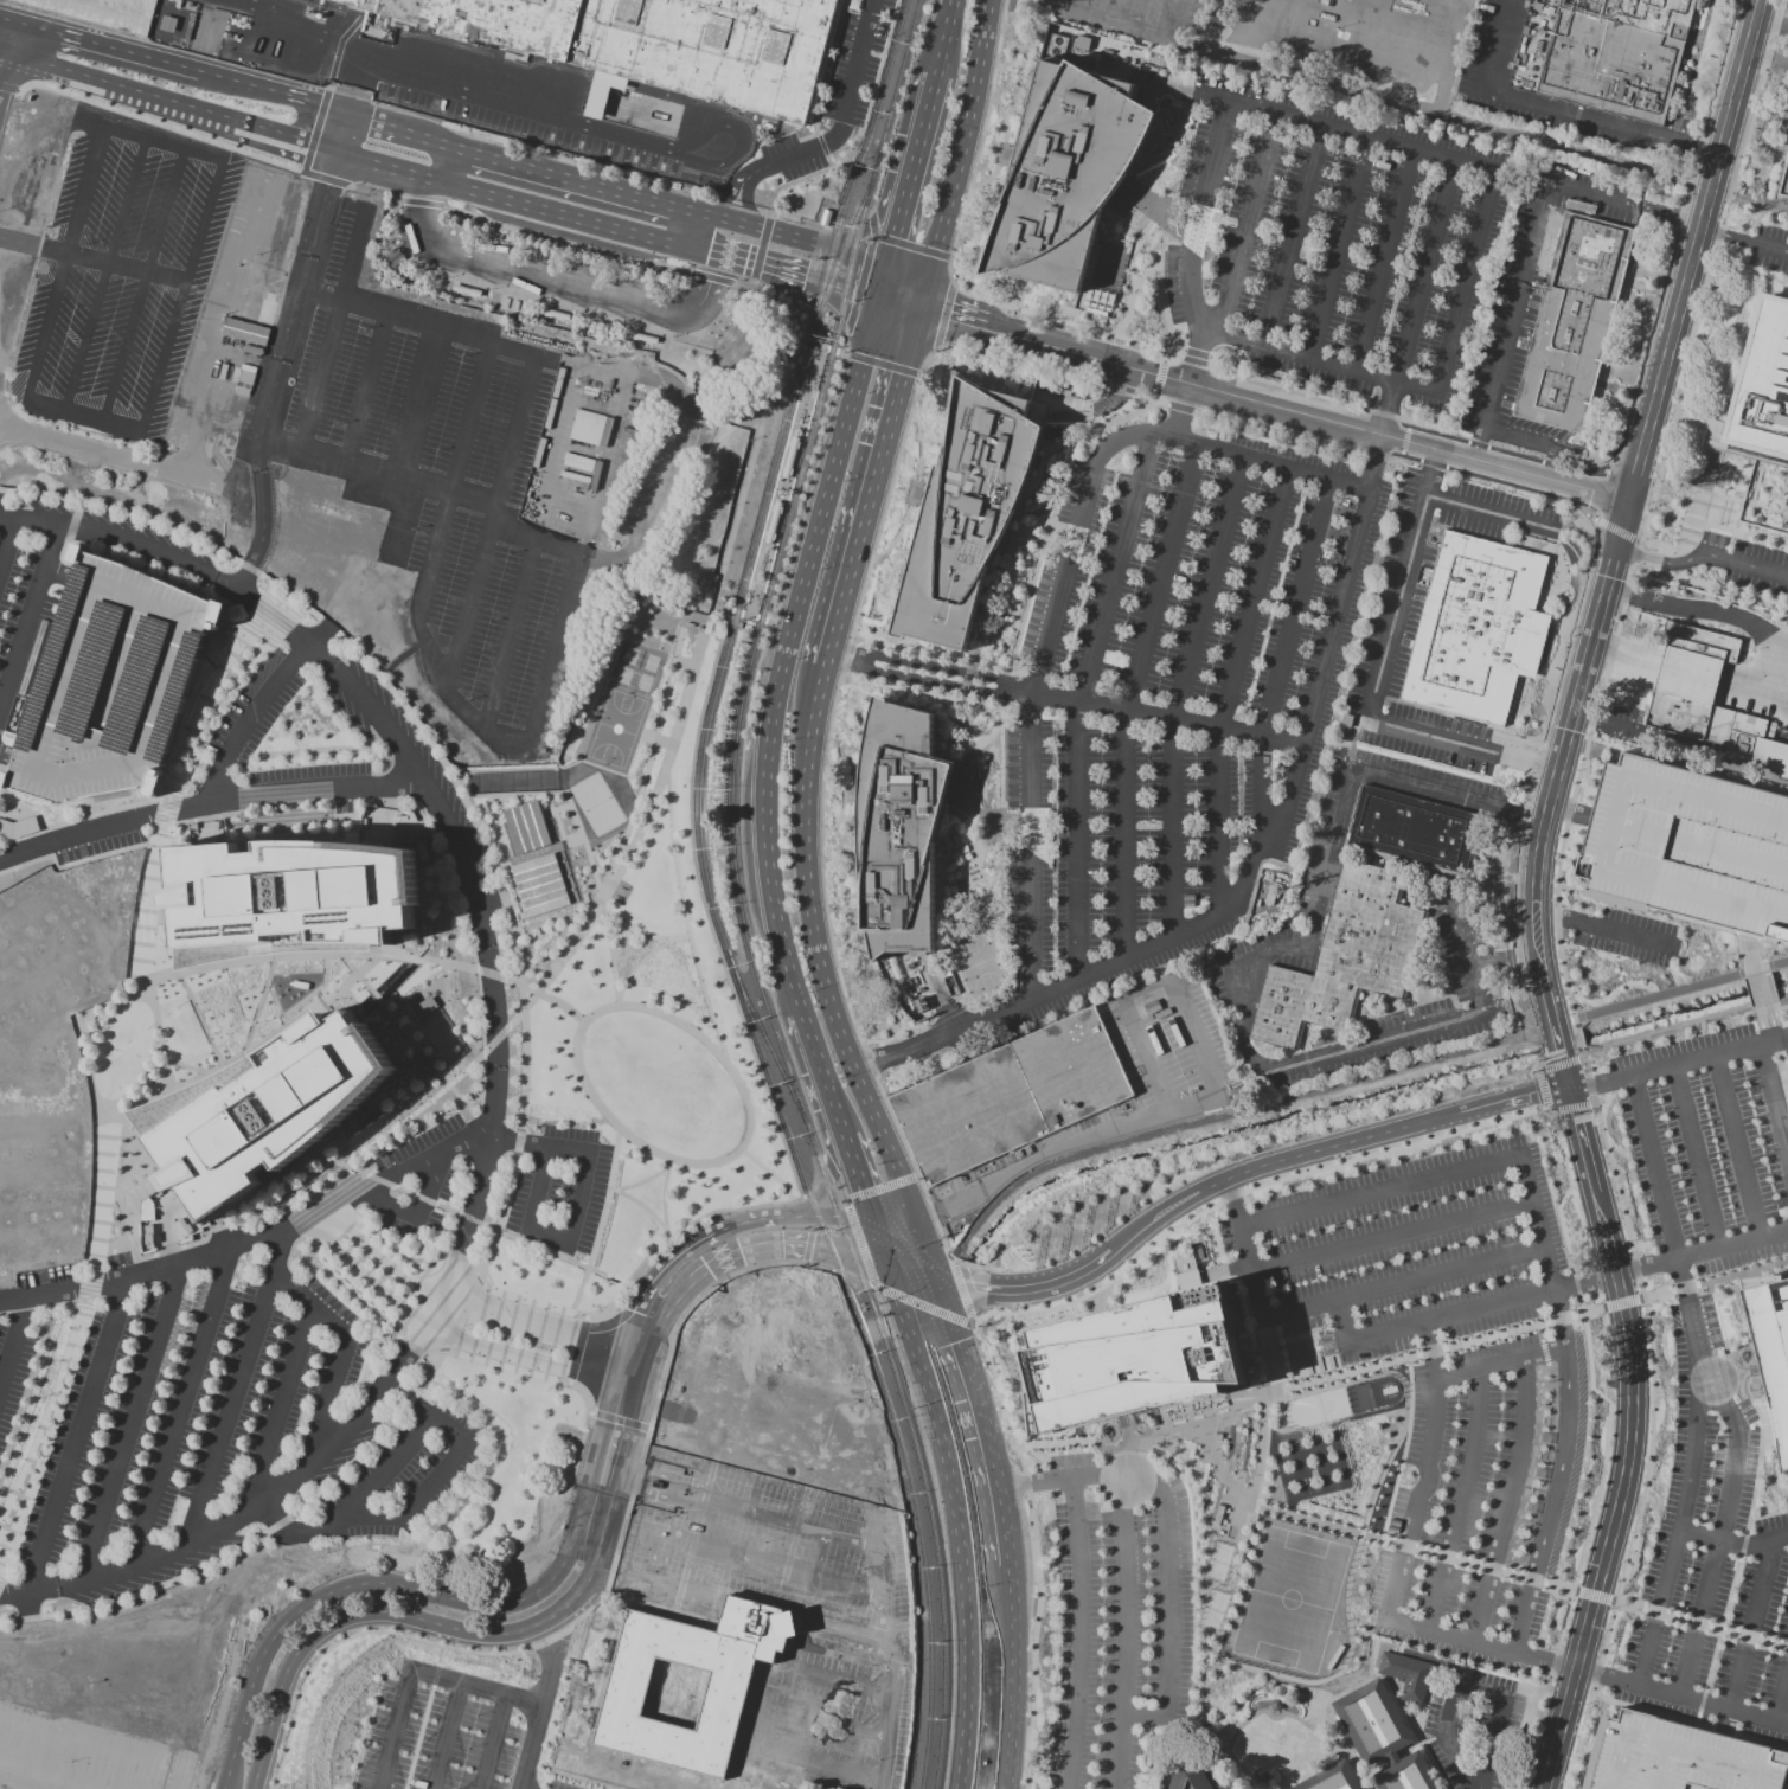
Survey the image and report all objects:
building: (98, 11)
road: (6, 20)
road: (1127, 30)
road: (944, 38)
building: (655, 43)
road: (1491, 43)
road: (6, 49)
road: (104, 49)
building: (1608, 54)
road: (1768, 59)
road: (823, 69)
road: (1742, 76)
road: (23, 85)
road: (327, 85)
road: (7, 86)
road: (120, 86)
road: (15, 89)
road: (446, 89)
road: (1351, 91)
road: (251, 92)
road: (845, 113)
road: (1575, 113)
road: (166, 126)
road: (383, 128)
road: (314, 129)
road: (807, 135)
road: (289, 137)
road: (921, 140)
road: (156, 142)
road: (742, 143)
road: (821, 145)
road: (1696, 146)
road: (957, 155)
road: (827, 160)
railway: (876, 161)
road: (1466, 169)
railway: (857, 171)
road: (1717, 171)
road: (325, 177)
building: (1065, 177)
road: (563, 178)
road: (789, 184)
building: (1782, 184)
road: (372, 190)
road: (730, 192)
road: (1723, 192)
road: (1745, 198)
road: (748, 200)
road: (418, 201)
road: (1771, 205)
road: (527, 206)
road: (1707, 207)
road: (873, 224)
road: (744, 225)
road: (1248, 226)
road: (710, 230)
road: (864, 230)
road: (1724, 232)
road: (1294, 238)
road: (565, 242)
road: (1191, 243)
road: (1767, 244)
road: (437, 245)
road: (1532, 245)
road: (912, 248)
road: (761, 249)
railway: (842, 249)
parking lot: (1326, 250)
road: (891, 251)
road: (1339, 251)
road: (348, 254)
road: (91, 262)
road: (59, 263)
road: (738, 263)
road: (1383, 263)
road: (872, 268)
road: (771, 271)
road: (949, 272)
road: (98, 274)
road: (1424, 274)
road: (711, 277)
traffic signals: (885, 280)
traffic signals: (809, 282)
road: (139, 284)
road: (860, 284)
road: (564, 286)
road: (741, 287)
road: (1160, 290)
building: (466, 291)
road: (851, 291)
road: (181, 295)
road: (707, 295)
road: (539, 297)
traffic signals: (879, 300)
road: (632, 303)
building: (252, 306)
road: (839, 306)
traffic signals: (916, 309)
building: (555, 315)
road: (742, 315)
road: (943, 318)
road: (1057, 319)
building: (1566, 326)
road: (224, 329)
road: (871, 329)
building: (645, 338)
road: (1174, 348)
road: (833, 352)
road: (1196, 353)
road: (774, 354)
road: (1164, 354)
road: (282, 355)
road: (1314, 359)
road: (923, 360)
road: (1015, 361)
road: (882, 365)
road: (860, 367)
road: (815, 368)
road: (327, 373)
road: (1158, 377)
road: (1178, 378)
building: (1762, 383)
road: (376, 386)
road: (1286, 386)
road: (1116, 390)
road: (1153, 397)
road: (1151, 399)
road: (423, 400)
road: (1183, 408)
road: (1391, 409)
road: (1388, 413)
road: (110, 425)
road: (1430, 425)
building: (587, 428)
road: (513, 434)
road: (1299, 434)
road: (1403, 440)
building: (790, 457)
road: (1236, 457)
road: (118, 459)
road: (1536, 474)
road: (672, 475)
road: (869, 495)
road: (447, 498)
road: (130, 505)
road: (883, 505)
road: (123, 513)
road: (1489, 514)
road: (236, 520)
building: (967, 521)
building: (773, 522)
road: (7, 541)
road: (532, 556)
road: (1642, 556)
road: (1726, 560)
road: (577, 566)
road: (249, 568)
road: (57, 573)
railway: (764, 592)
road: (288, 595)
road: (1622, 598)
road: (286, 601)
road: (693, 601)
road: (754, 603)
road: (1603, 605)
road: (467, 613)
road: (1715, 614)
road: (273, 616)
road: (28, 617)
road: (326, 626)
building: (1474, 628)
parking lot: (21, 629)
road: (262, 629)
parking lot: (1388, 629)
railway: (726, 646)
road: (396, 656)
road: (845, 656)
road: (684, 662)
road: (1282, 665)
road: (1036, 678)
road: (1377, 681)
building: (110, 684)
parking lot: (110, 684)
parking lot: (1177, 688)
road: (776, 690)
road: (1231, 691)
road: (204, 695)
road: (1181, 695)
road: (1064, 699)
road: (1127, 699)
road: (1079, 704)
road: (222, 706)
building: (1713, 706)
road: (681, 708)
road: (248, 719)
parking lot: (308, 723)
railway: (737, 732)
road: (662, 740)
road: (742, 742)
road: (7, 756)
road: (646, 765)
road: (171, 787)
road: (513, 793)
road: (1429, 795)
road: (209, 802)
road: (165, 809)
road: (640, 812)
road: (1524, 817)
road: (288, 819)
building: (525, 826)
building: (898, 826)
building: (18, 828)
building: (1410, 831)
road: (607, 839)
building: (1688, 845)
parking garage: (1688, 845)
road: (626, 847)
road: (488, 858)
road: (1332, 860)
road: (73, 863)
road: (1254, 871)
building: (538, 884)
road: (598, 894)
building: (286, 898)
road: (684, 917)
road: (1600, 928)
road: (640, 932)
road: (829, 934)
road: (470, 953)
road: (486, 953)
road: (306, 954)
road: (1467, 956)
road: (819, 958)
road: (639, 961)
road: (1267, 961)
building: (1352, 961)
park: (976, 962)
road: (489, 973)
road: (323, 977)
road: (1672, 993)
road: (544, 995)
road: (258, 1005)
building: (423, 1006)
road: (1551, 1008)
road: (198, 1019)
road: (583, 1020)
road: (1239, 1028)
road: (493, 1038)
road: (412, 1041)
road: (1373, 1043)
road: (123, 1046)
road: (251, 1047)
railway: (771, 1047)
road: (1709, 1054)
road: (1564, 1056)
road: (820, 1075)
road: (1600, 1077)
traffic signals: (1571, 1083)
building: (1012, 1096)
road: (1194, 1101)
road: (1773, 1104)
building: (262, 1110)
road: (517, 1140)
road: (1738, 1147)
road: (1513, 1155)
road: (1696, 1156)
road: (1348, 1160)
road: (669, 1161)
road: (1653, 1167)
road: (353, 1168)
road: (1242, 1171)
road: (774, 1176)
road: (835, 1178)
road: (378, 1180)
road: (641, 1180)
road: (859, 1180)
road: (826, 1181)
road: (609, 1187)
road: (882, 1188)
road: (403, 1190)
building: (140, 1194)
road: (662, 1198)
road: (423, 1199)
road: (284, 1200)
road: (287, 1205)
road: (642, 1206)
road: (446, 1208)
road: (578, 1211)
road: (417, 1213)
road: (704, 1213)
road: (499, 1217)
road: (468, 1218)
road: (760, 1219)
road: (295, 1220)
road: (597, 1220)
traffic signals: (874, 1223)
road: (488, 1225)
road: (667, 1235)
road: (942, 1240)
road: (859, 1244)
road: (924, 1250)
road: (110, 1251)
road: (1704, 1255)
road: (871, 1263)
traffic signals: (890, 1268)
traffic signals: (935, 1280)
road: (1712, 1280)
road: (692, 1281)
road: (355, 1282)
road: (88, 1283)
road: (960, 1288)
road: (700, 1293)
road: (1356, 1295)
road: (536, 1302)
road: (1621, 1303)
road: (924, 1304)
road: (476, 1307)
road: (460, 1314)
road: (584, 1317)
road: (973, 1321)
road: (1390, 1332)
road: (443, 1334)
road: (398, 1338)
road: (13, 1339)
road: (411, 1346)
road: (576, 1348)
building: (1769, 1354)
road: (339, 1358)
road: (428, 1358)
railway: (877, 1361)
building: (1130, 1361)
road: (514, 1368)
road: (749, 1371)
parking lot: (265, 1376)
road: (568, 1380)
road: (237, 1385)
road: (630, 1386)
road: (1633, 1396)
road: (682, 1400)
road: (587, 1403)
road: (180, 1405)
road: (280, 1410)
road: (590, 1411)
road: (749, 1416)
road: (50, 1418)
road: (617, 1419)
road: (985, 1419)
road: (130, 1422)
road: (646, 1426)
road: (1598, 1431)
road: (814, 1432)
road: (75, 1438)
road: (374, 1438)
road: (327, 1447)
railway: (919, 1456)
road: (1128, 1461)
road: (1561, 1466)
road: (765, 1467)
road: (440, 1468)
road: (1685, 1471)
road: (634, 1479)
road: (617, 1481)
road: (1220, 1483)
road: (648, 1486)
road: (1459, 1498)
road: (1507, 1499)
road: (956, 1500)
road: (1411, 1500)
road: (277, 1524)
road: (790, 1526)
road: (941, 1532)
road: (1731, 1539)
road: (1715, 1544)
road: (1034, 1554)
road: (658, 1556)
road: (773, 1560)
road: (611, 1564)
road: (155, 1585)
road: (450, 1597)
road: (1079, 1597)
park: (1288, 1599)
road: (1165, 1605)
road: (771, 1608)
road: (1124, 1609)
road: (379, 1614)
road: (1525, 1615)
road: (26, 1618)
road: (7, 1621)
road: (1749, 1626)
road: (351, 1634)
road: (552, 1636)
road: (891, 1636)
road: (1481, 1641)
road: (440, 1655)
road: (434, 1674)
building: (1406, 1675)
building: (1465, 1675)
road: (1014, 1678)
building: (681, 1687)
road: (474, 1688)
road: (1469, 1692)
road: (326, 1694)
road: (1781, 1695)
road: (1681, 1698)
road: (539, 1704)
building: (1372, 1721)
road: (828, 1724)
parking lot: (1474, 1727)
road: (395, 1730)
parking lot: (451, 1733)
road: (417, 1736)
road: (446, 1737)
road: (492, 1743)
road: (1555, 1749)
building: (1677, 1757)
parking lot: (1677, 1757)
building: (1405, 1774)
building: (1188, 1777)
building: (1331, 1778)

